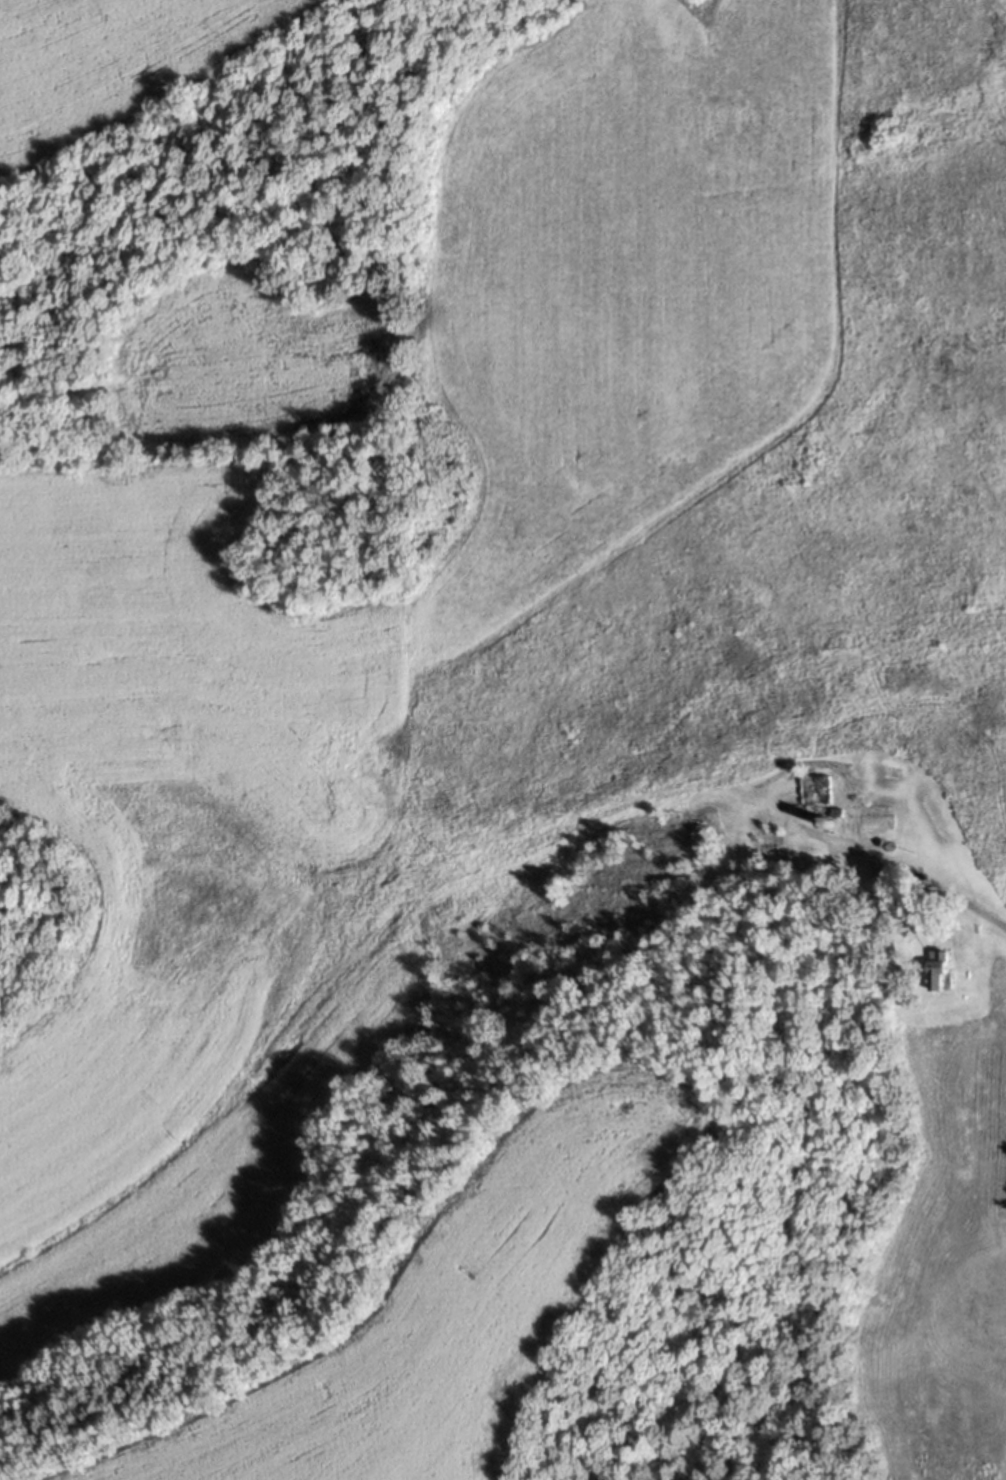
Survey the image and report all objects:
building: (818, 795)
building: (768, 834)
road: (932, 881)
building: (884, 900)
building: (936, 969)

